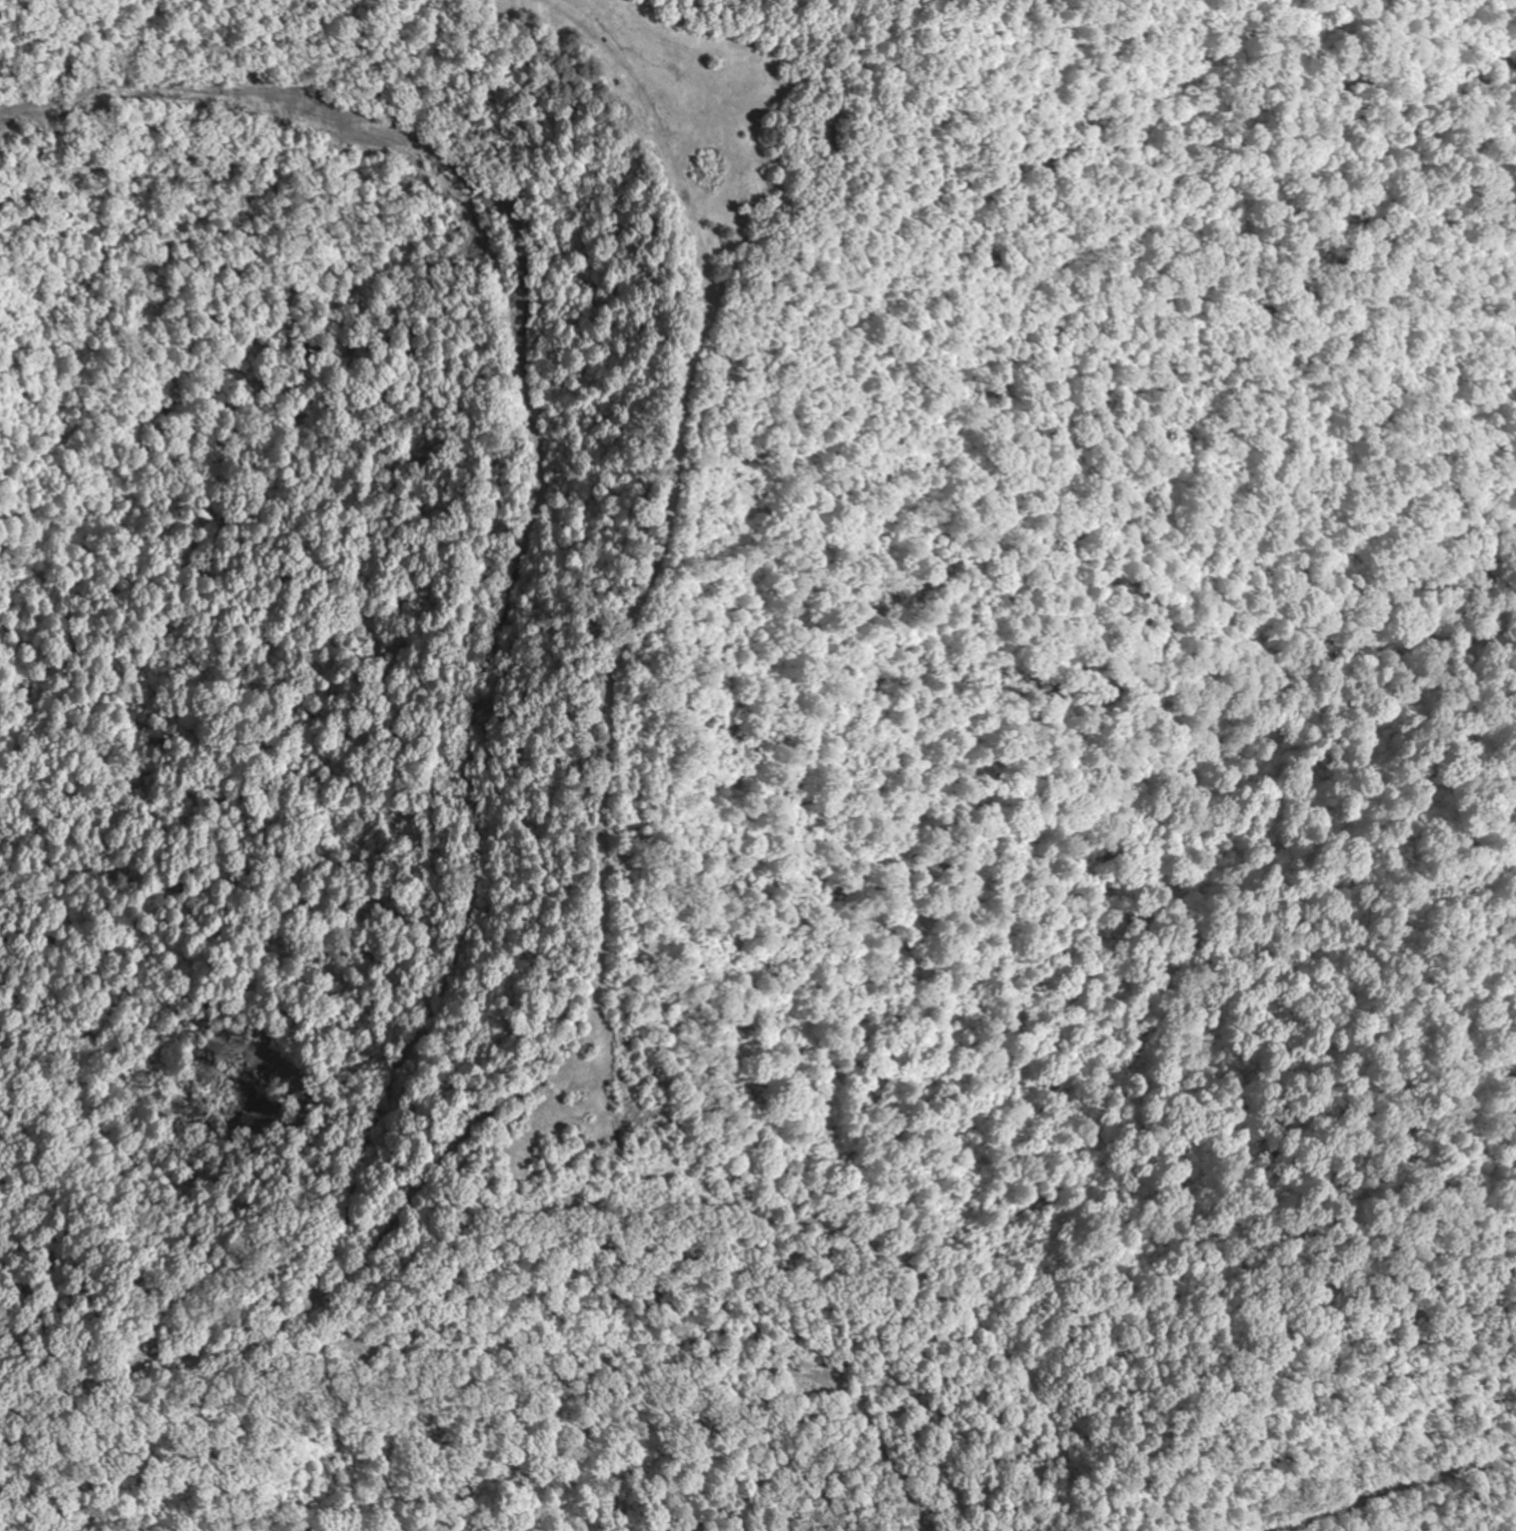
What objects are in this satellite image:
road: (433, 854)

